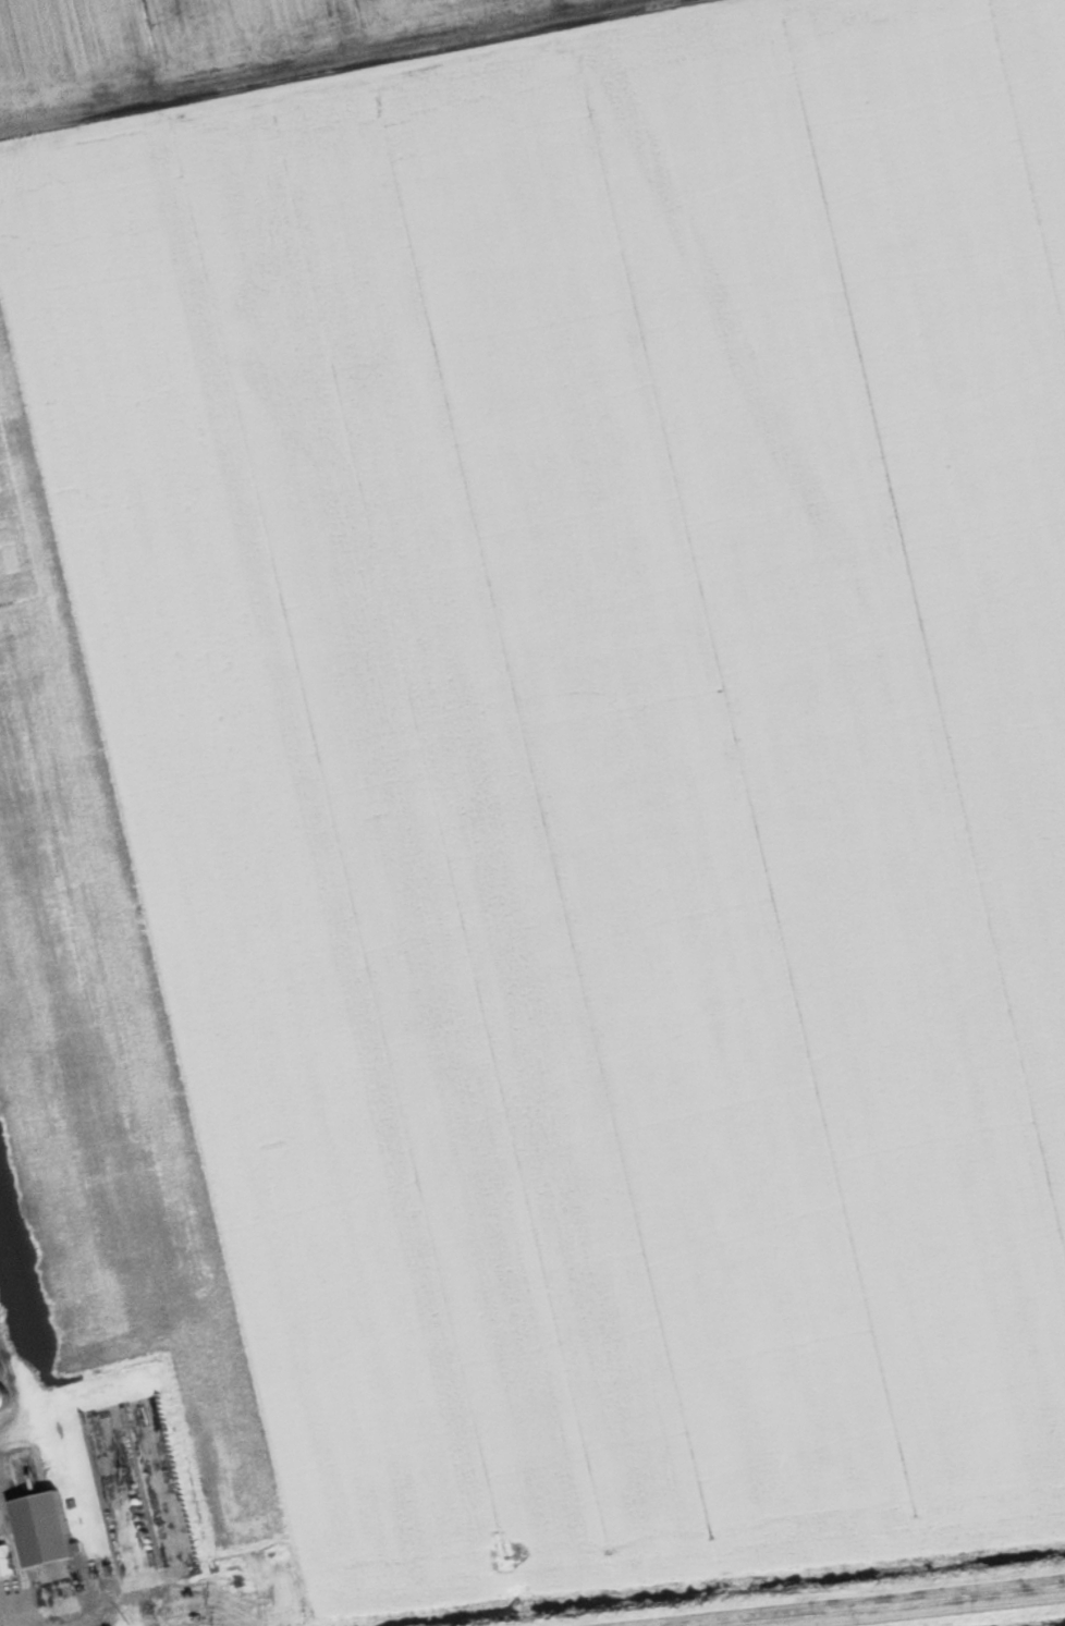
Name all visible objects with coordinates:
crop: (181, 36)
building: (42, 1531)
building: (4, 1563)
road: (8, 1610)
road: (4, 1617)

